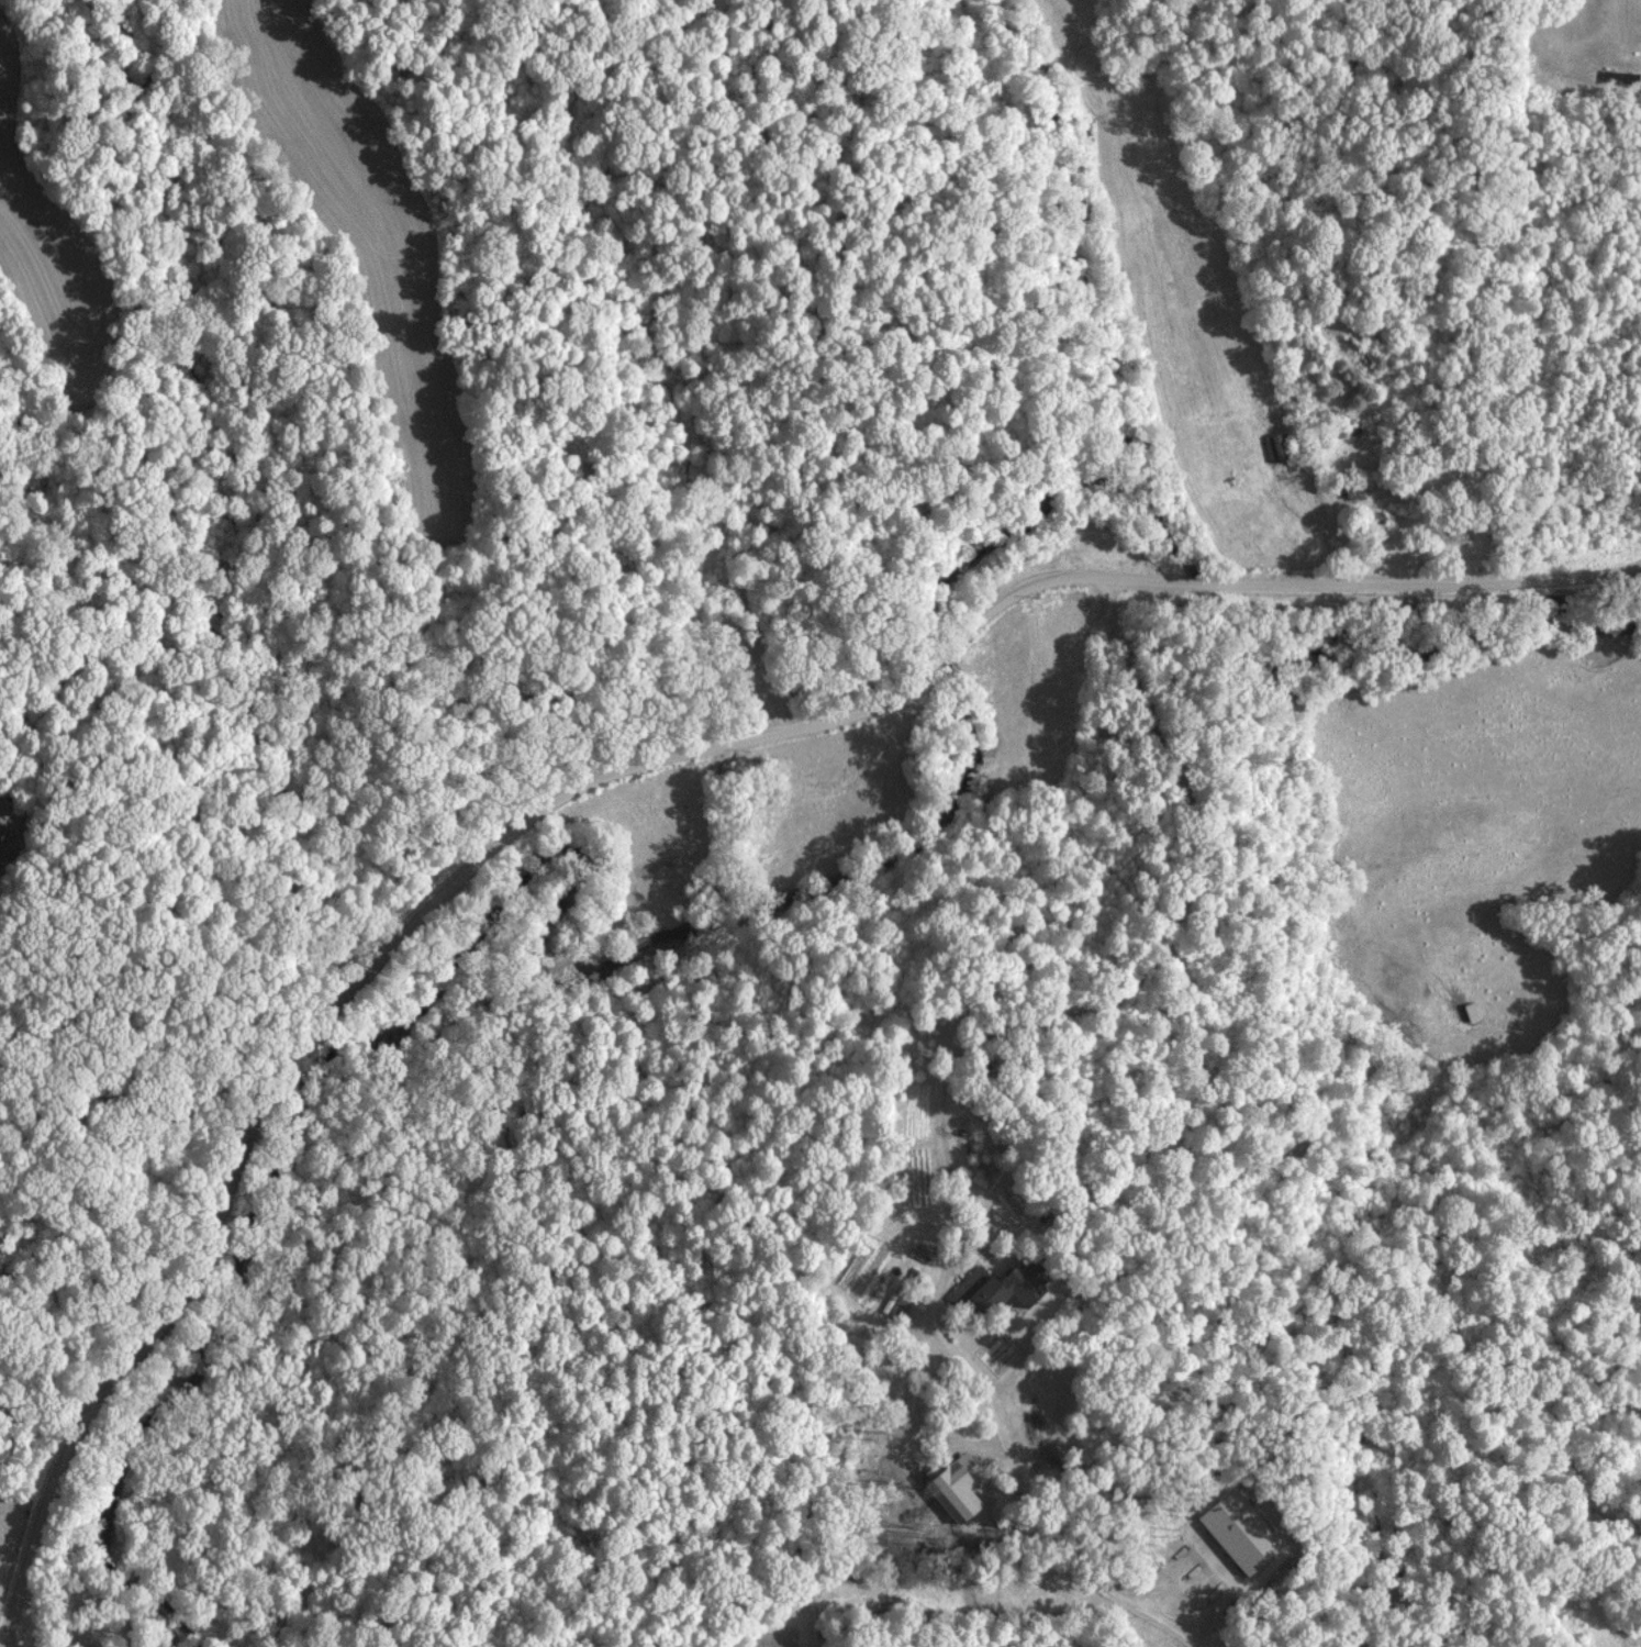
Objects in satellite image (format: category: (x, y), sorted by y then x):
building: (1277, 446)
road: (600, 783)
building: (0, 825)
road: (181, 891)
road: (947, 1088)
road: (536, 1182)
building: (920, 1251)
building: (1000, 1283)
building: (897, 1302)
road: (947, 1422)
building: (953, 1483)
building: (1237, 1529)

